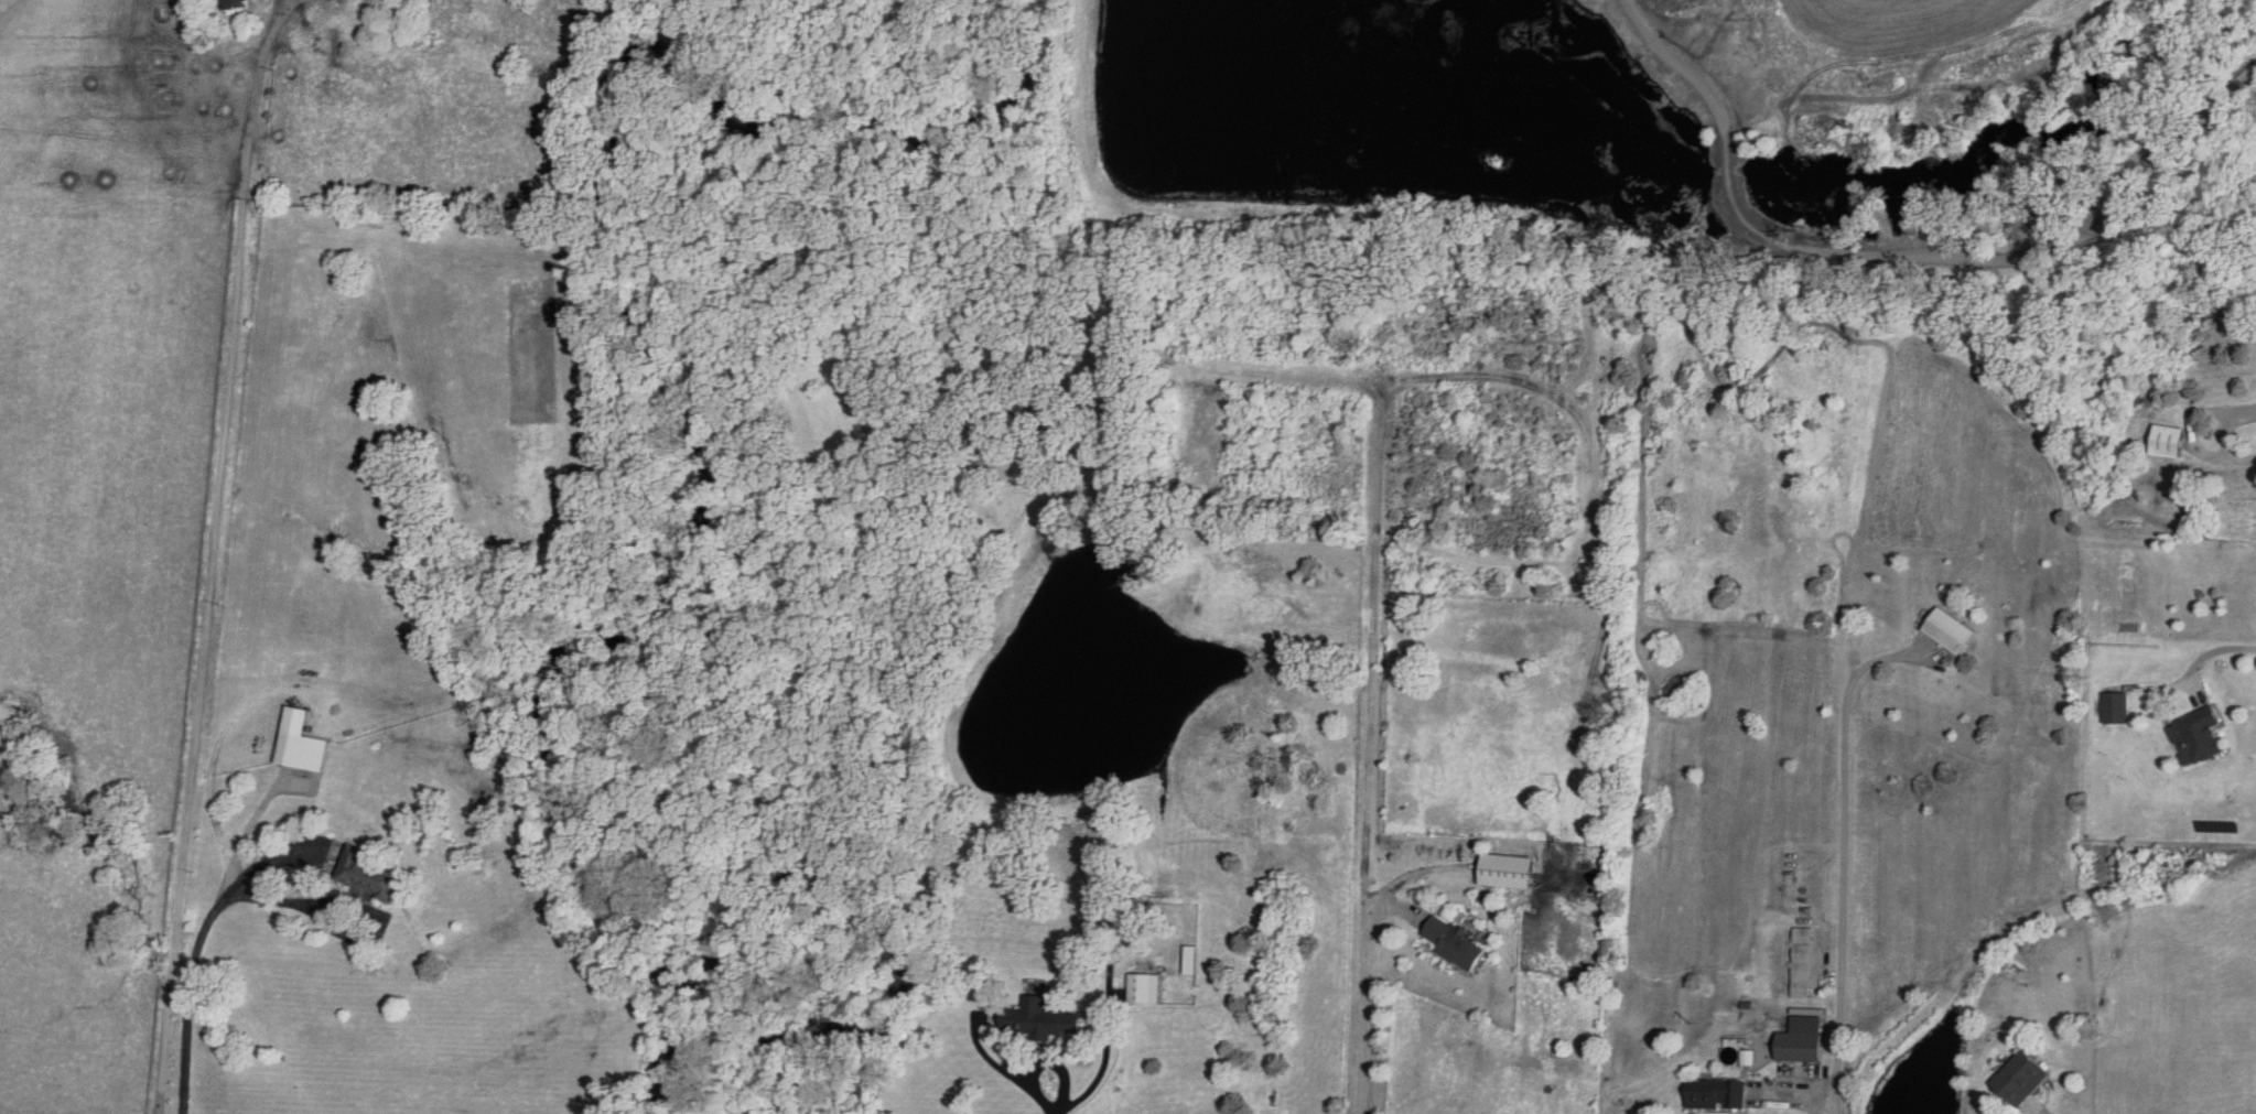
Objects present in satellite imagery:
crop: (1850, 52)
building: (2165, 442)
building: (1946, 631)
building: (2114, 707)
building: (2195, 736)
building: (306, 750)
building: (365, 869)
building: (1511, 870)
building: (1456, 942)
road: (193, 955)
building: (1192, 959)
building: (1801, 961)
building: (1145, 987)
building: (1798, 1039)
building: (2017, 1078)
building: (1712, 1092)

